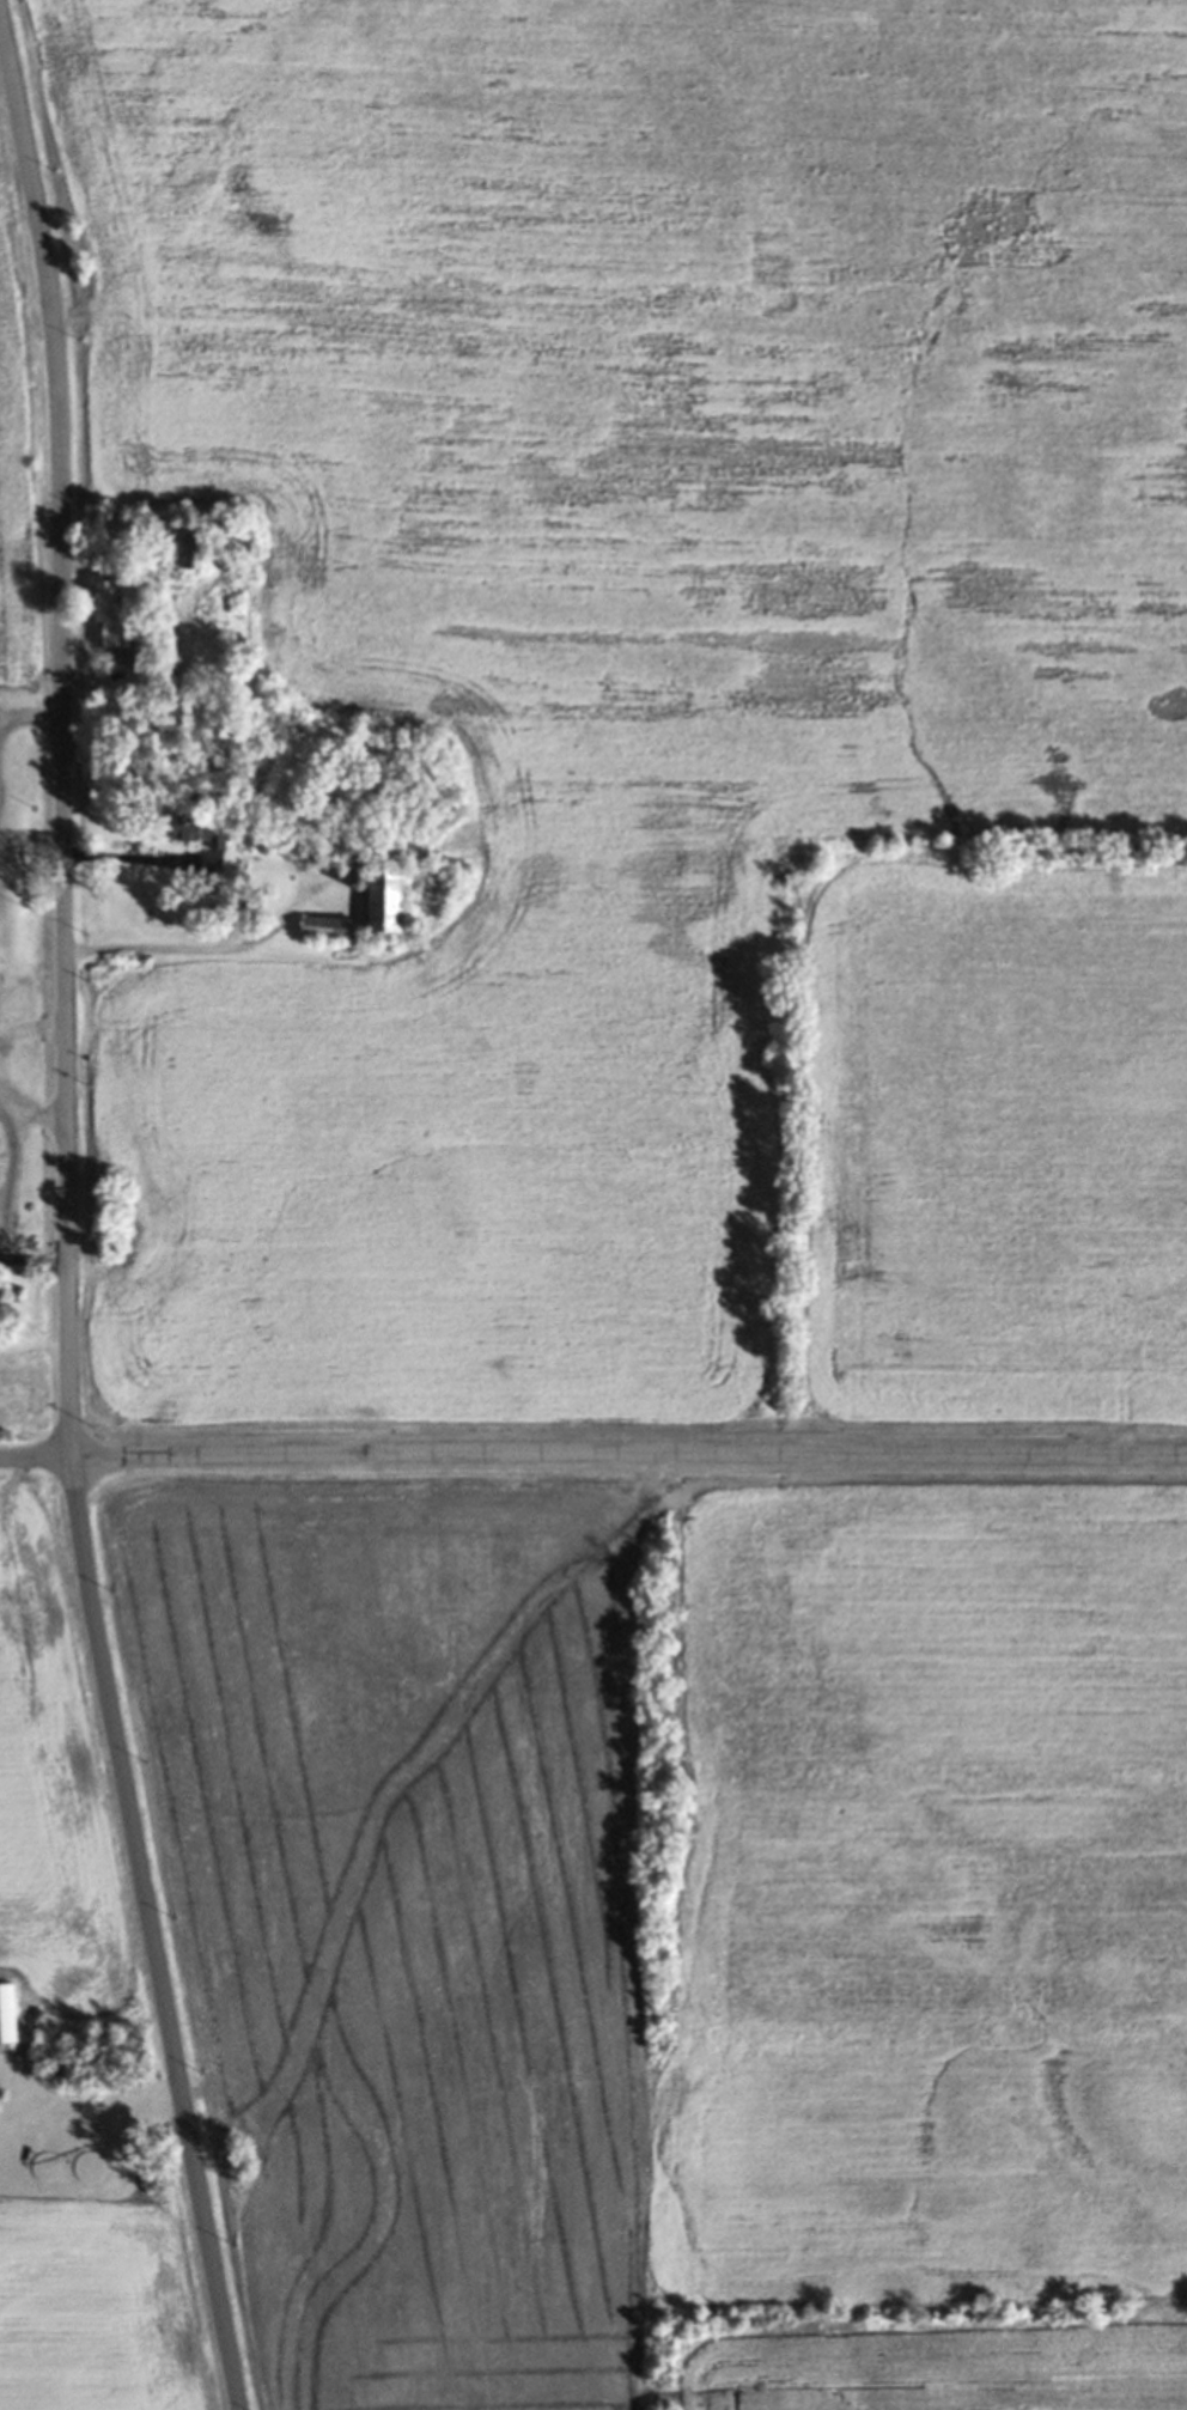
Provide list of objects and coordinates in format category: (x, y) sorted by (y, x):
building: (195, 554)
building: (114, 617)
road: (30, 712)
building: (202, 827)
road: (142, 857)
building: (389, 902)
building: (329, 927)
road: (36, 1114)
road: (2, 1163)
road: (69, 1219)
road: (35, 1258)
road: (592, 1461)
building: (8, 2014)

